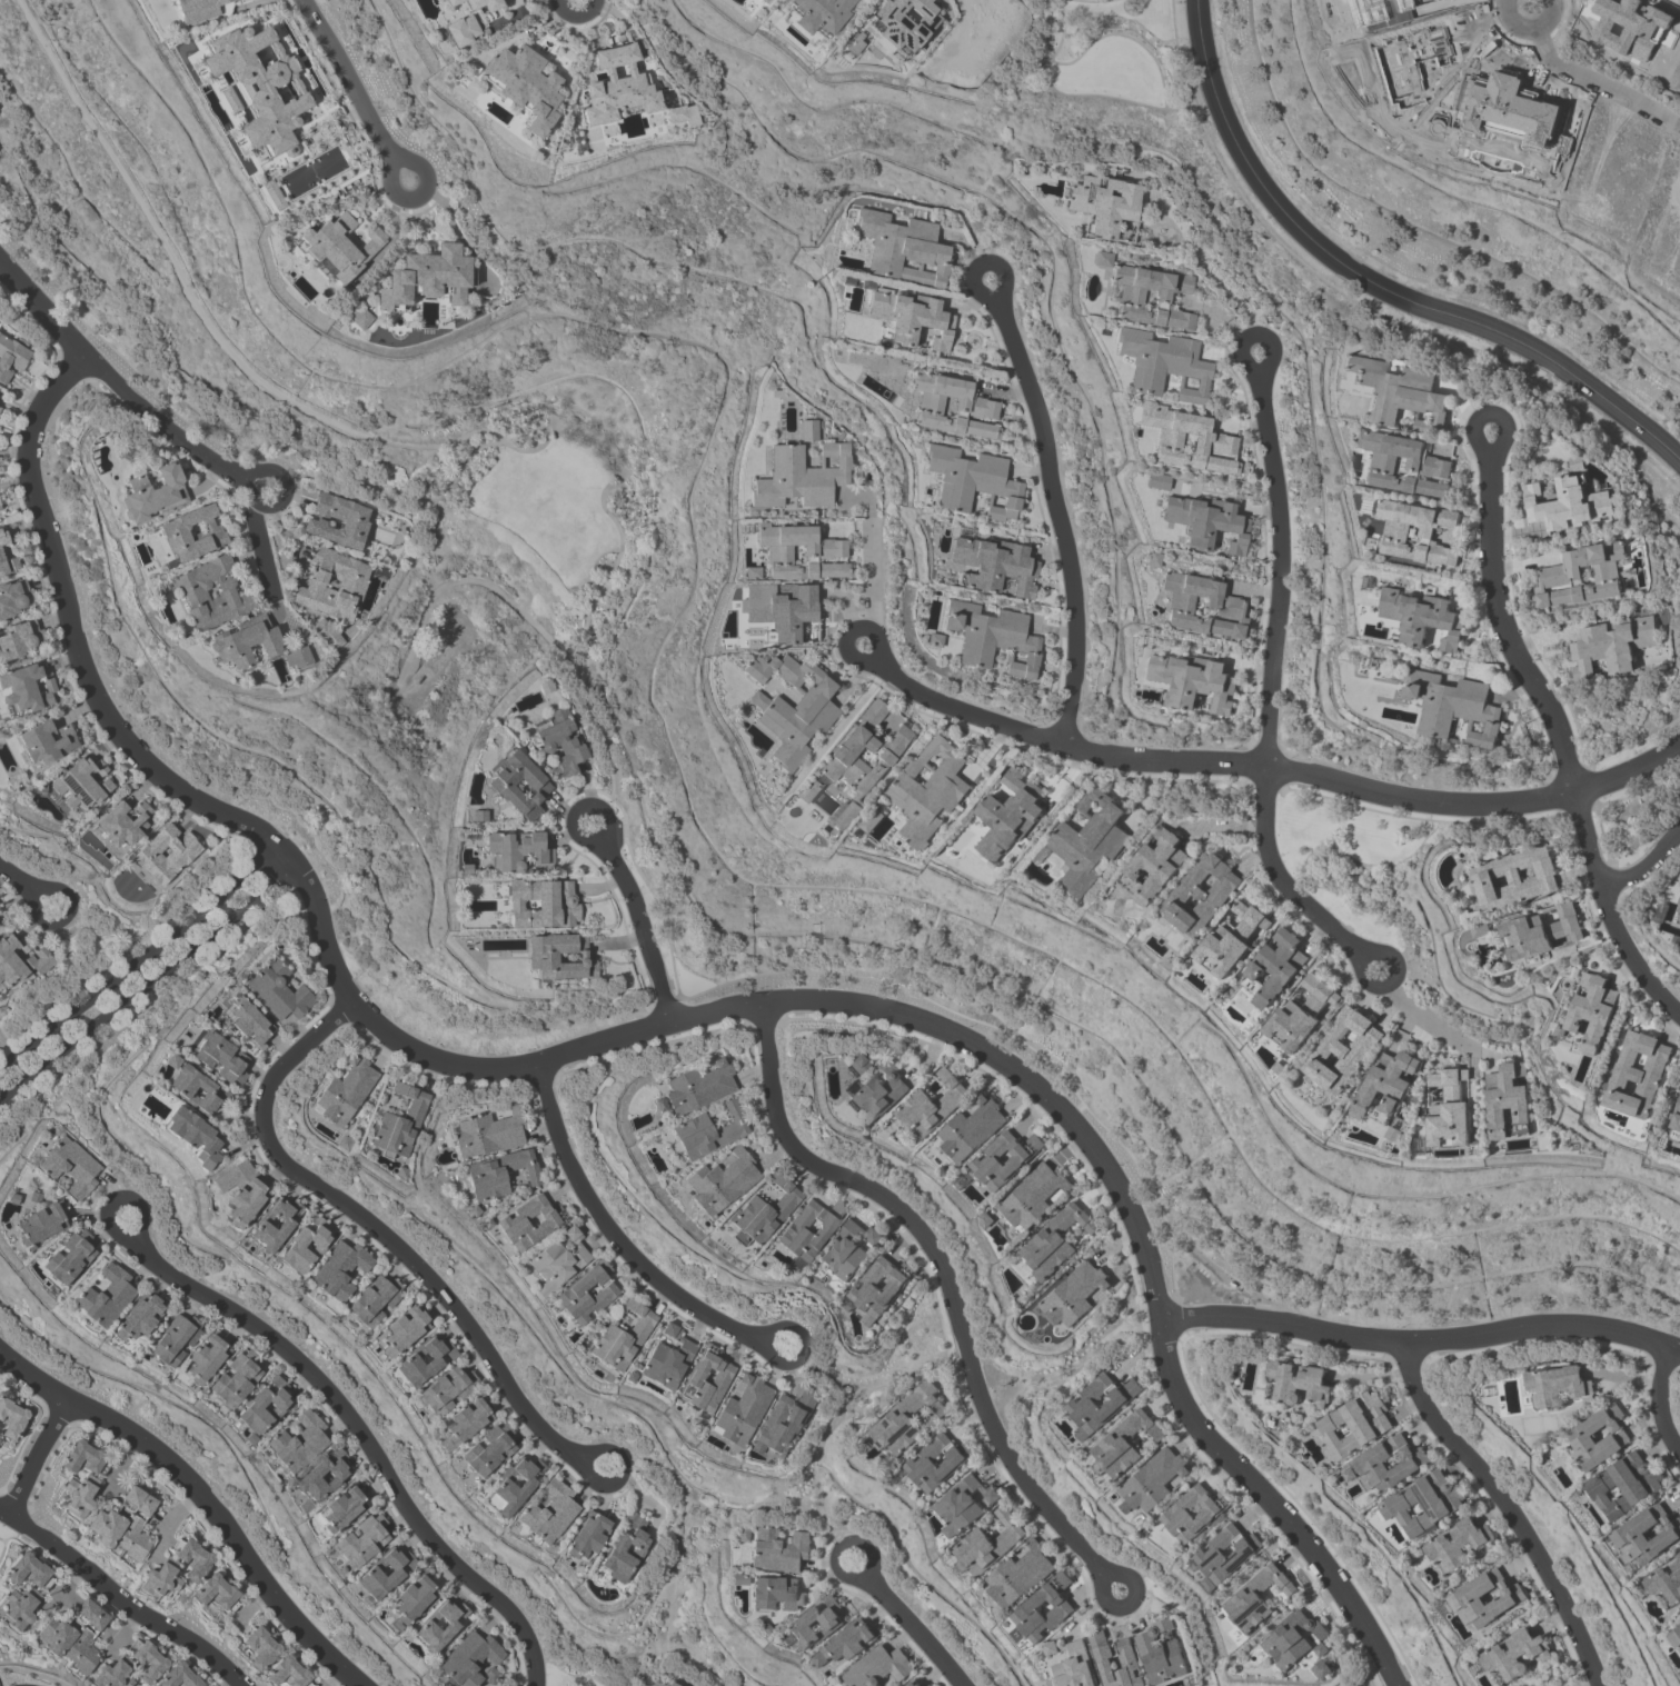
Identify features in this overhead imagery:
building: (761, 0)
building: (764, 0)
building: (451, 2)
road: (1529, 2)
building: (484, 3)
road: (975, 4)
building: (202, 9)
building: (818, 14)
building: (907, 23)
building: (461, 29)
road: (1587, 84)
building: (524, 86)
building: (623, 86)
road: (354, 91)
building: (683, 110)
building: (1103, 203)
building: (338, 246)
building: (902, 248)
road: (165, 251)
building: (1102, 258)
road: (982, 261)
building: (325, 267)
building: (428, 278)
road: (1375, 285)
building: (1130, 297)
building: (359, 317)
building: (909, 317)
road: (1253, 332)
building: (11, 357)
building: (1162, 363)
road: (112, 379)
building: (1398, 393)
building: (952, 405)
road: (1490, 415)
building: (808, 430)
building: (1211, 436)
road: (439, 449)
building: (1438, 462)
building: (1577, 462)
road: (620, 473)
building: (801, 476)
building: (1156, 480)
building: (972, 481)
building: (152, 493)
road: (282, 496)
building: (1369, 496)
building: (1567, 503)
building: (0, 509)
road: (1058, 517)
building: (337, 520)
building: (1205, 521)
building: (191, 532)
building: (1394, 533)
building: (7, 540)
building: (799, 551)
road: (869, 551)
road: (261, 552)
building: (1152, 559)
building: (8, 563)
building: (993, 565)
building: (752, 572)
building: (1559, 573)
building: (331, 583)
road: (486, 587)
building: (210, 592)
building: (14, 597)
building: (1203, 606)
building: (783, 610)
building: (1421, 617)
road: (848, 632)
building: (326, 634)
building: (991, 637)
building: (19, 638)
building: (933, 639)
building: (245, 640)
building: (1611, 645)
building: (296, 655)
building: (1193, 680)
building: (545, 686)
building: (27, 687)
road: (1265, 699)
building: (792, 706)
building: (1453, 706)
road: (1559, 740)
building: (46, 741)
building: (559, 741)
building: (863, 756)
road: (1278, 771)
building: (81, 782)
building: (518, 784)
building: (927, 789)
building: (812, 790)
road: (583, 806)
building: (1008, 815)
building: (478, 816)
building: (872, 820)
building: (122, 822)
building: (1088, 840)
building: (516, 850)
building: (165, 854)
building: (1156, 864)
road: (1643, 865)
building: (465, 868)
road: (14, 876)
building: (1515, 877)
building: (1199, 894)
building: (1679, 900)
building: (540, 902)
road: (64, 916)
building: (1679, 919)
building: (1481, 929)
road: (642, 930)
building: (1540, 931)
building: (1231, 939)
building: (559, 956)
building: (36, 960)
road: (140, 961)
building: (1276, 966)
road: (148, 985)
building: (277, 990)
building: (1592, 1009)
road: (1414, 1012)
building: (1301, 1014)
building: (248, 1021)
road: (636, 1029)
building: (1562, 1031)
building: (1342, 1049)
building: (220, 1057)
building: (171, 1060)
building: (856, 1063)
building: (1279, 1068)
building: (1637, 1074)
building: (1386, 1083)
building: (697, 1087)
building: (196, 1089)
building: (345, 1090)
building: (878, 1093)
building: (1505, 1098)
building: (659, 1104)
building: (933, 1105)
building: (1449, 1108)
building: (1676, 1117)
building: (399, 1123)
building: (972, 1129)
building: (706, 1133)
building: (1393, 1133)
building: (487, 1134)
building: (193, 1135)
building: (344, 1141)
building: (1005, 1158)
building: (69, 1165)
building: (400, 1171)
building: (498, 1173)
building: (720, 1181)
building: (241, 1191)
building: (1033, 1195)
road: (112, 1197)
building: (474, 1210)
building: (765, 1210)
building: (986, 1219)
building: (529, 1221)
building: (486, 1223)
building: (40, 1224)
building: (274, 1224)
building: (809, 1228)
road: (610, 1231)
road: (386, 1234)
building: (1056, 1240)
building: (305, 1245)
building: (847, 1249)
building: (69, 1257)
building: (557, 1261)
road: (942, 1267)
building: (338, 1269)
building: (881, 1287)
building: (586, 1291)
building: (1075, 1294)
building: (106, 1296)
building: (374, 1299)
building: (139, 1316)
building: (404, 1329)
building: (622, 1336)
building: (173, 1338)
road: (1409, 1345)
road: (801, 1348)
building: (206, 1358)
building: (666, 1358)
building: (424, 1359)
building: (628, 1376)
building: (235, 1379)
building: (704, 1379)
building: (1298, 1383)
building: (1557, 1386)
building: (445, 1389)
road: (1668, 1395)
building: (1082, 1405)
building: (264, 1406)
building: (740, 1409)
building: (11, 1417)
building: (909, 1418)
building: (464, 1423)
building: (783, 1424)
building: (1354, 1425)
road: (362, 1437)
building: (1580, 1437)
building: (298, 1441)
building: (1123, 1443)
building: (488, 1450)
building: (85, 1458)
road: (42, 1459)
building: (937, 1461)
building: (1372, 1465)
road: (619, 1474)
building: (320, 1479)
building: (1152, 1479)
building: (1623, 1484)
building: (513, 1485)
building: (77, 1495)
building: (129, 1497)
road: (200, 1497)
building: (1425, 1502)
building: (962, 1504)
building: (340, 1508)
road: (1513, 1508)
building: (548, 1512)
building: (1176, 1514)
road: (169, 1519)
building: (105, 1526)
building: (135, 1530)
building: (742, 1534)
building: (1629, 1534)
building: (587, 1536)
building: (361, 1540)
building: (988, 1544)
building: (1459, 1544)
road: (839, 1547)
building: (625, 1548)
building: (778, 1550)
building: (1209, 1554)
building: (191, 1557)
building: (29, 1570)
building: (384, 1572)
building: (1020, 1574)
building: (738, 1578)
building: (160, 1579)
building: (1666, 1583)
building: (216, 1592)
building: (775, 1593)
road: (121, 1596)
building: (1255, 1597)
building: (1464, 1597)
building: (411, 1600)
road: (1127, 1604)
building: (18, 1606)
building: (1044, 1607)
building: (81, 1610)
building: (816, 1624)
building: (438, 1625)
building: (762, 1626)
road: (917, 1627)
building: (53, 1635)
building: (1676, 1637)
building: (1292, 1638)
building: (851, 1640)
building: (82, 1643)
building: (258, 1646)
building: (1161, 1653)
building: (1514, 1655)
building: (1105, 1656)
building: (468, 1658)
building: (146, 1659)
building: (821, 1659)
building: (1073, 1664)
building: (879, 1667)
building: (1323, 1668)
building: (111, 1673)
building: (287, 1673)
building: (1679, 1673)
building: (488, 1675)
building: (178, 1676)
park: (565, 1676)
parking lot: (0, 1683)
building: (913, 1683)
building: (672, 1684)
building: (928, 1685)

